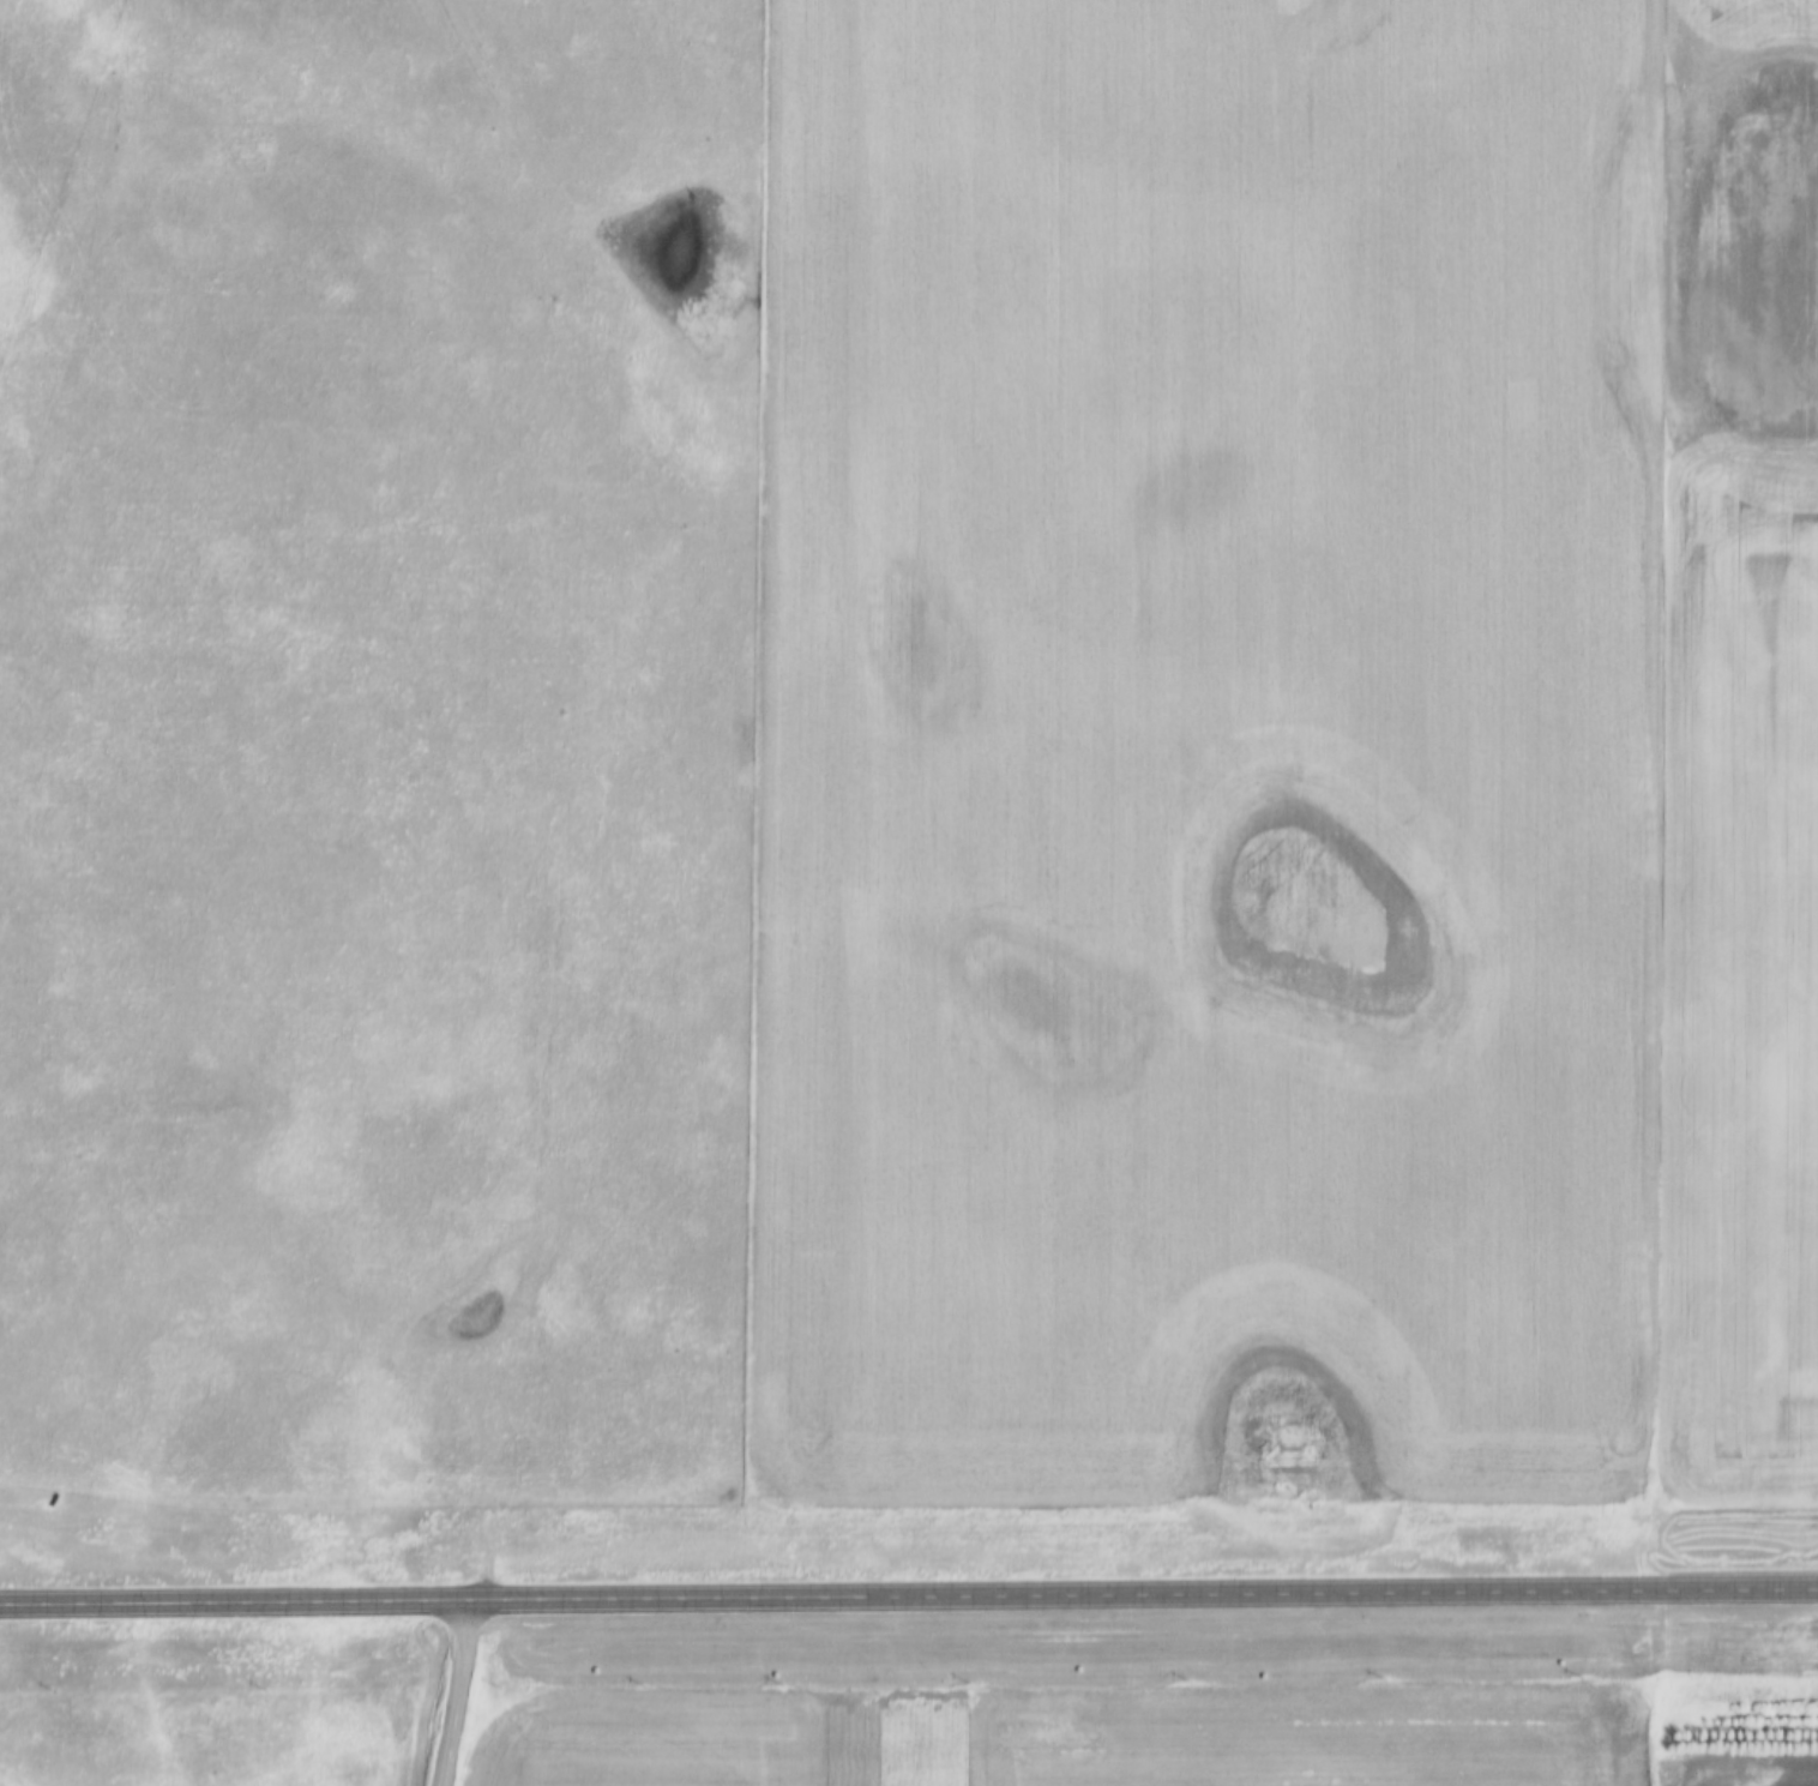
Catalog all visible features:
road: (908, 1594)
road: (460, 1692)

